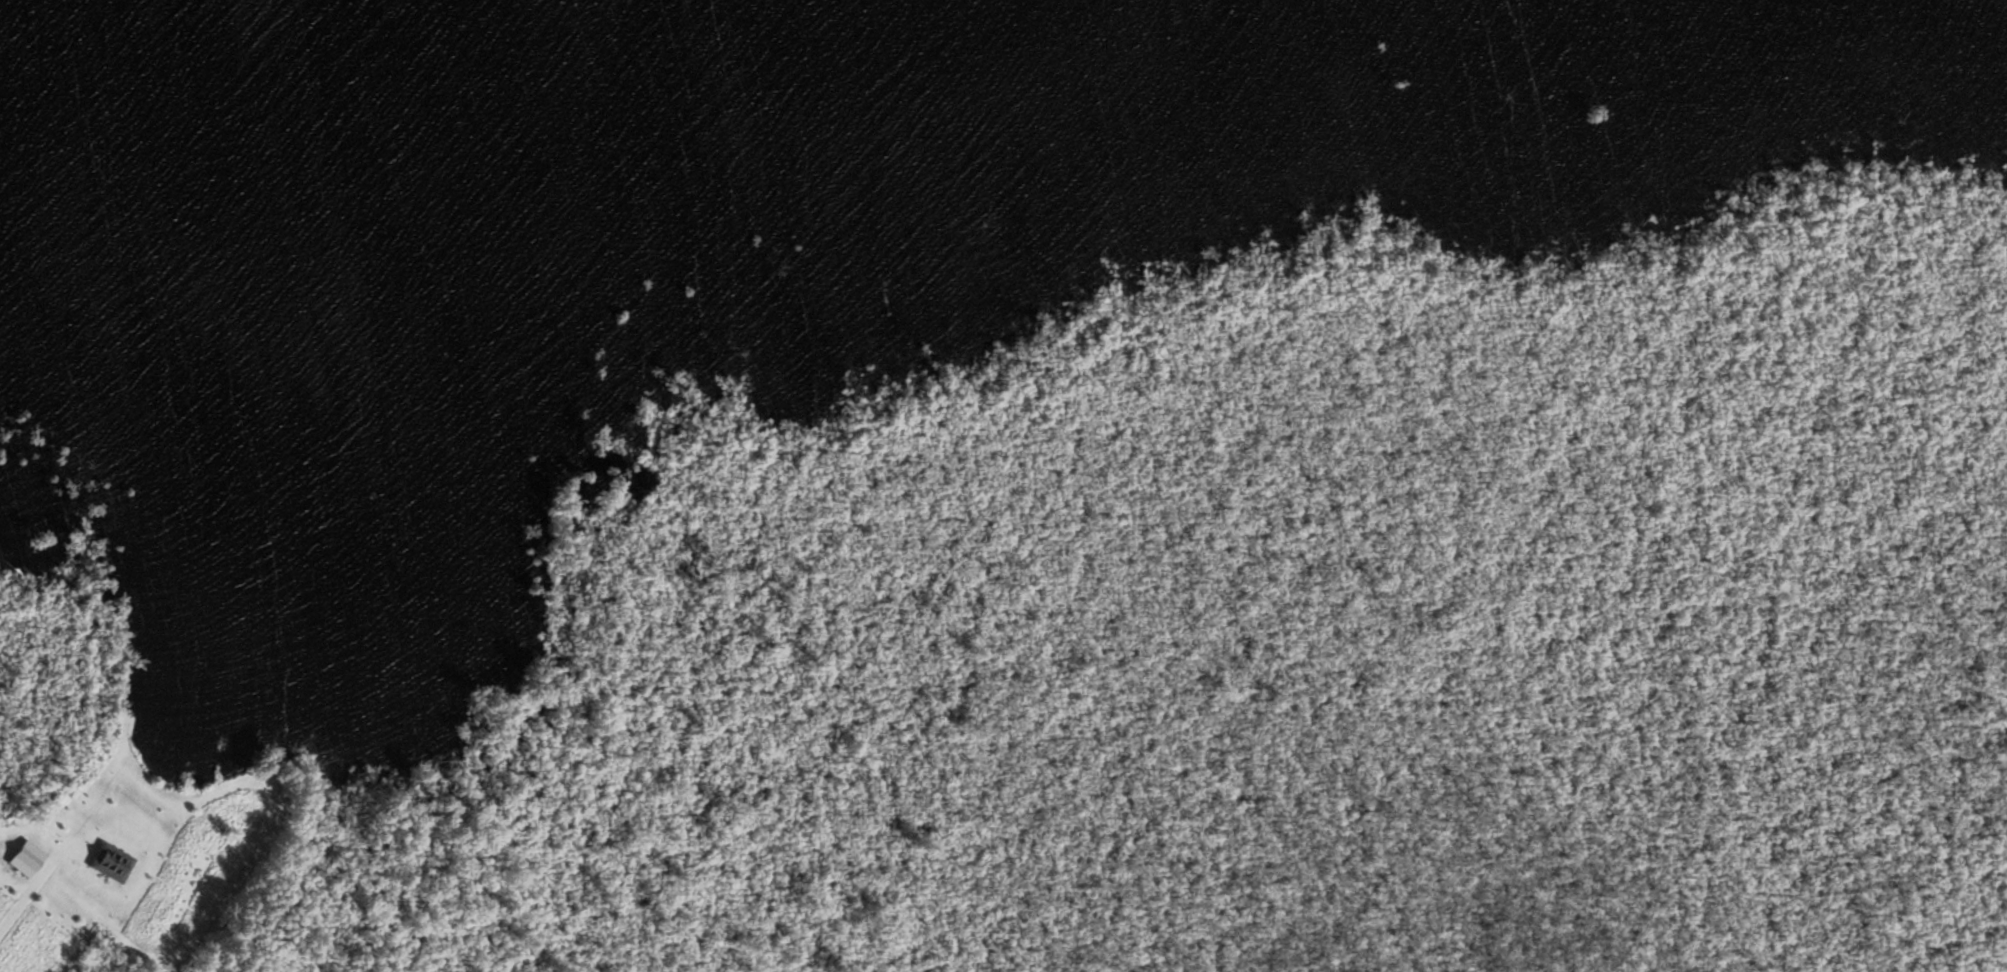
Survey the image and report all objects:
park: (1271, 610)
building: (109, 864)

